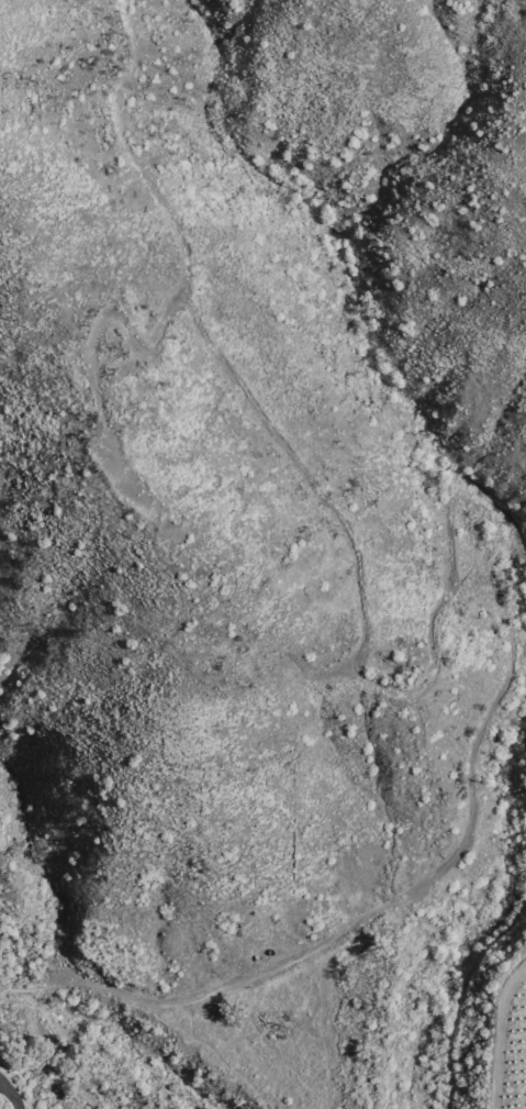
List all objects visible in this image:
road: (321, 498)
road: (403, 888)
road: (460, 991)
road: (71, 1057)
road: (54, 1062)
road: (9, 1095)

